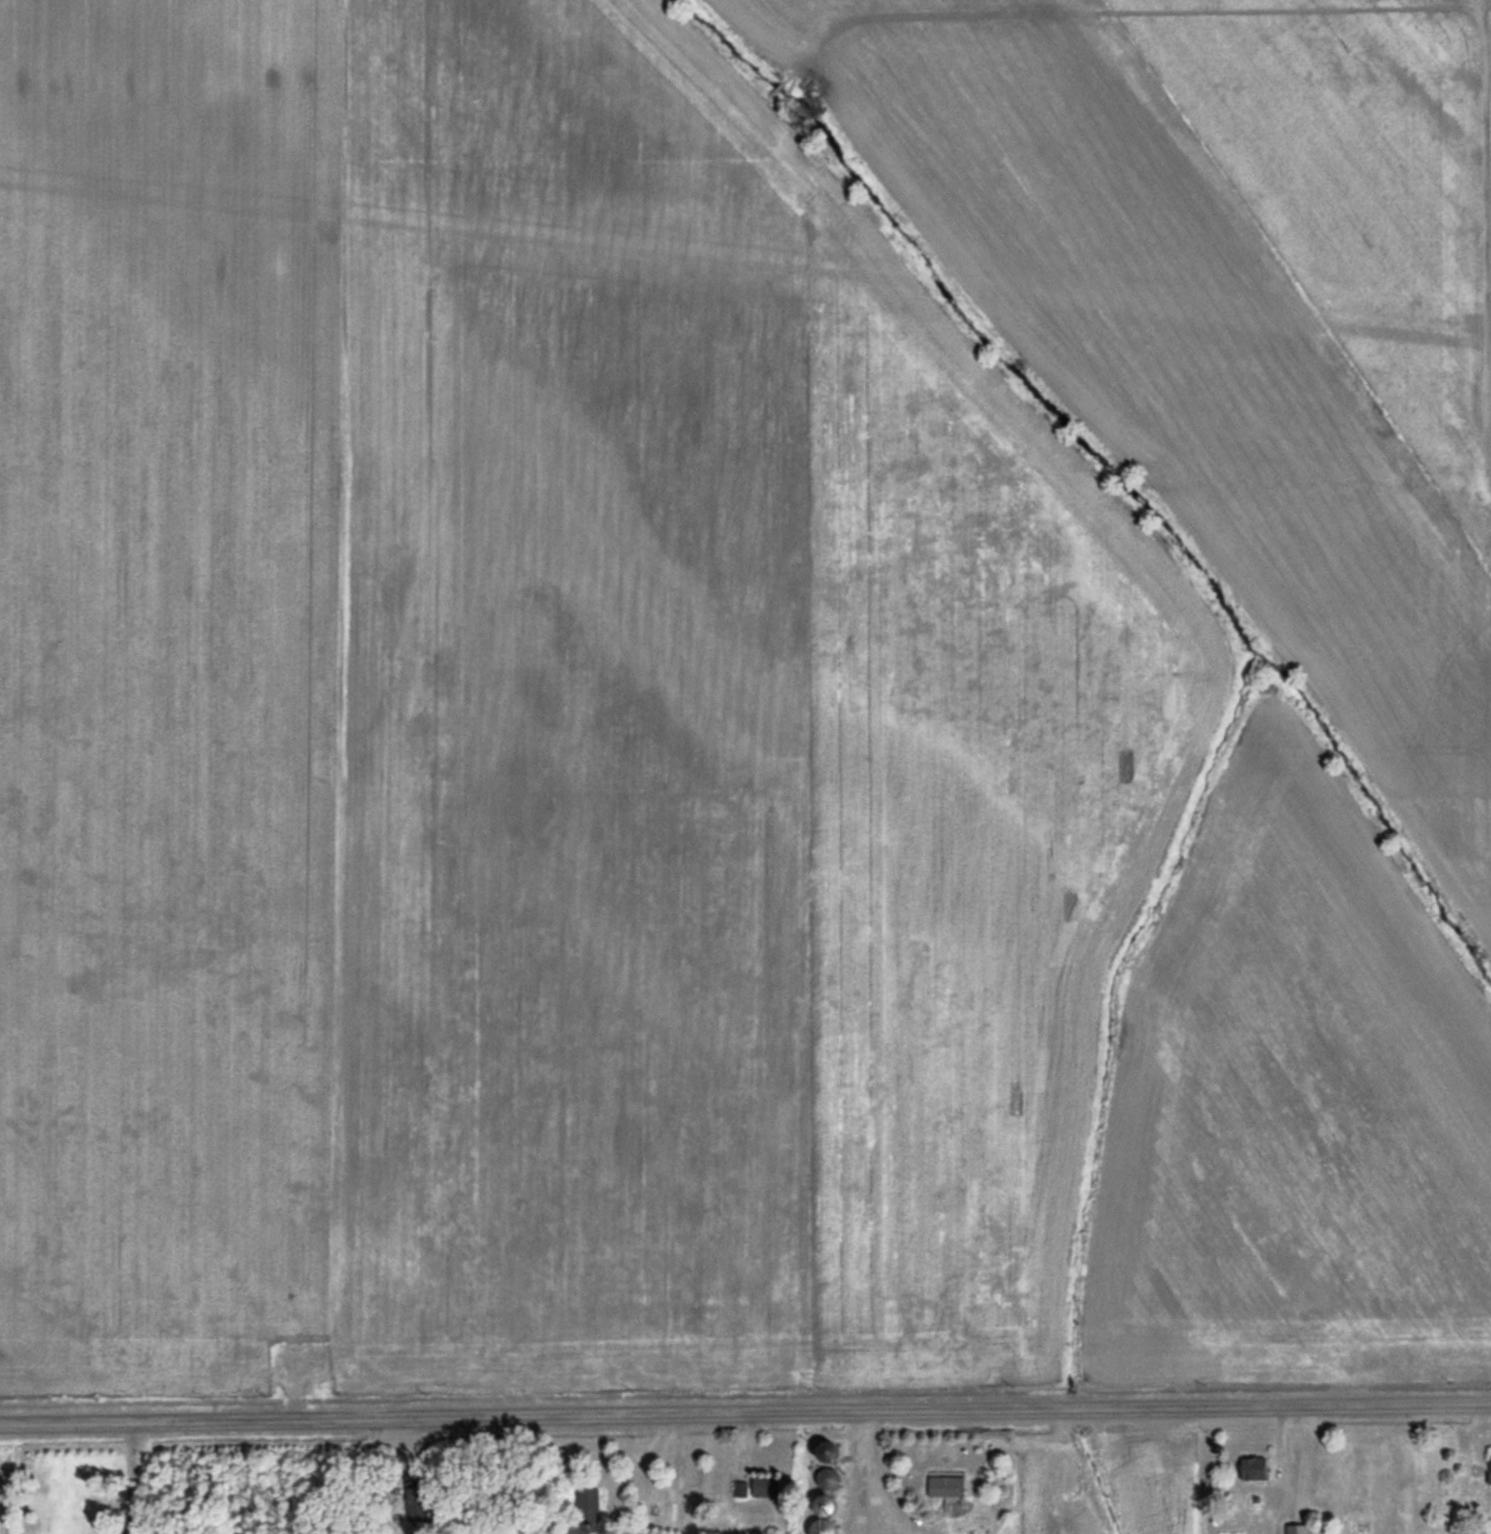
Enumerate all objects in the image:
crop: (745, 693)
road: (745, 1414)
building: (828, 1451)
building: (1254, 1468)
building: (1490, 1469)
road: (866, 1473)
building: (828, 1479)
building: (765, 1487)
building: (947, 1487)
building: (741, 1490)
building: (415, 1501)
building: (827, 1506)
building: (588, 1507)
building: (41, 1524)
building: (824, 1528)
building: (1298, 1529)

